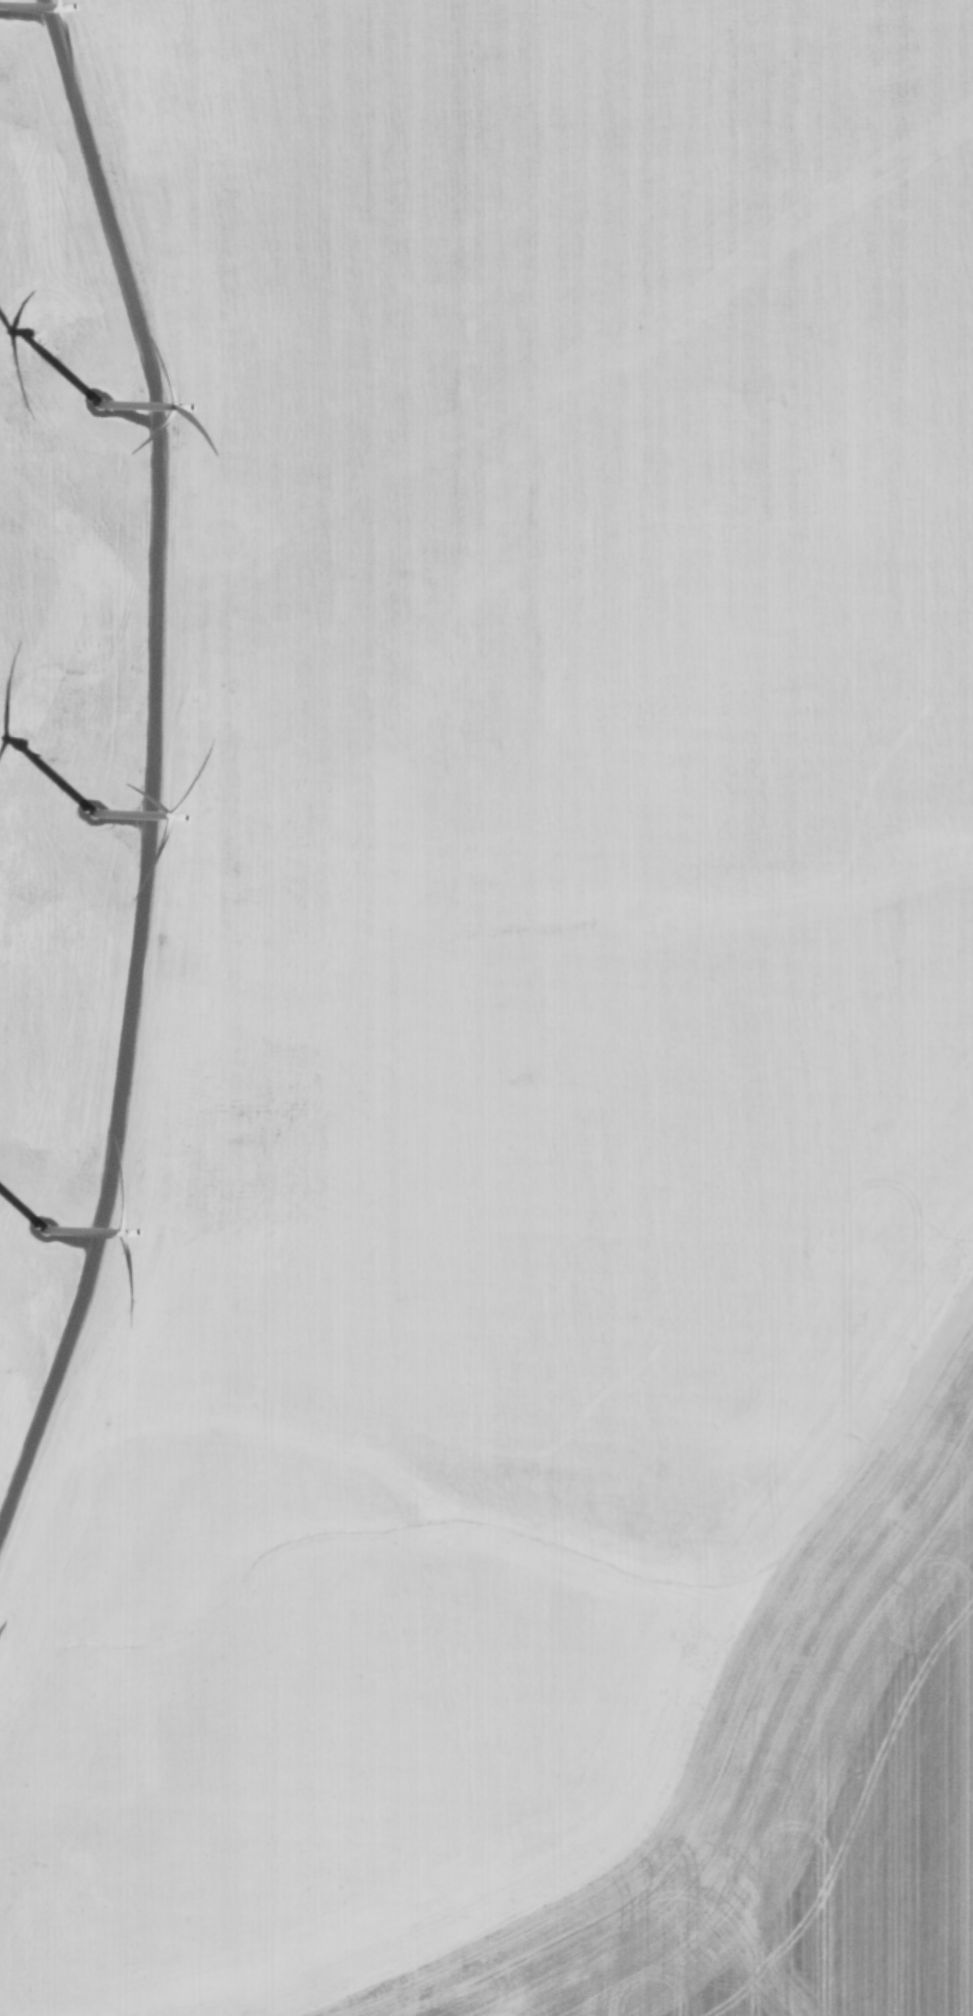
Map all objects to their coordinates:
wind turbine: (86, 419)
road: (143, 752)
wind turbine: (109, 815)
wind turbine: (36, 1252)

